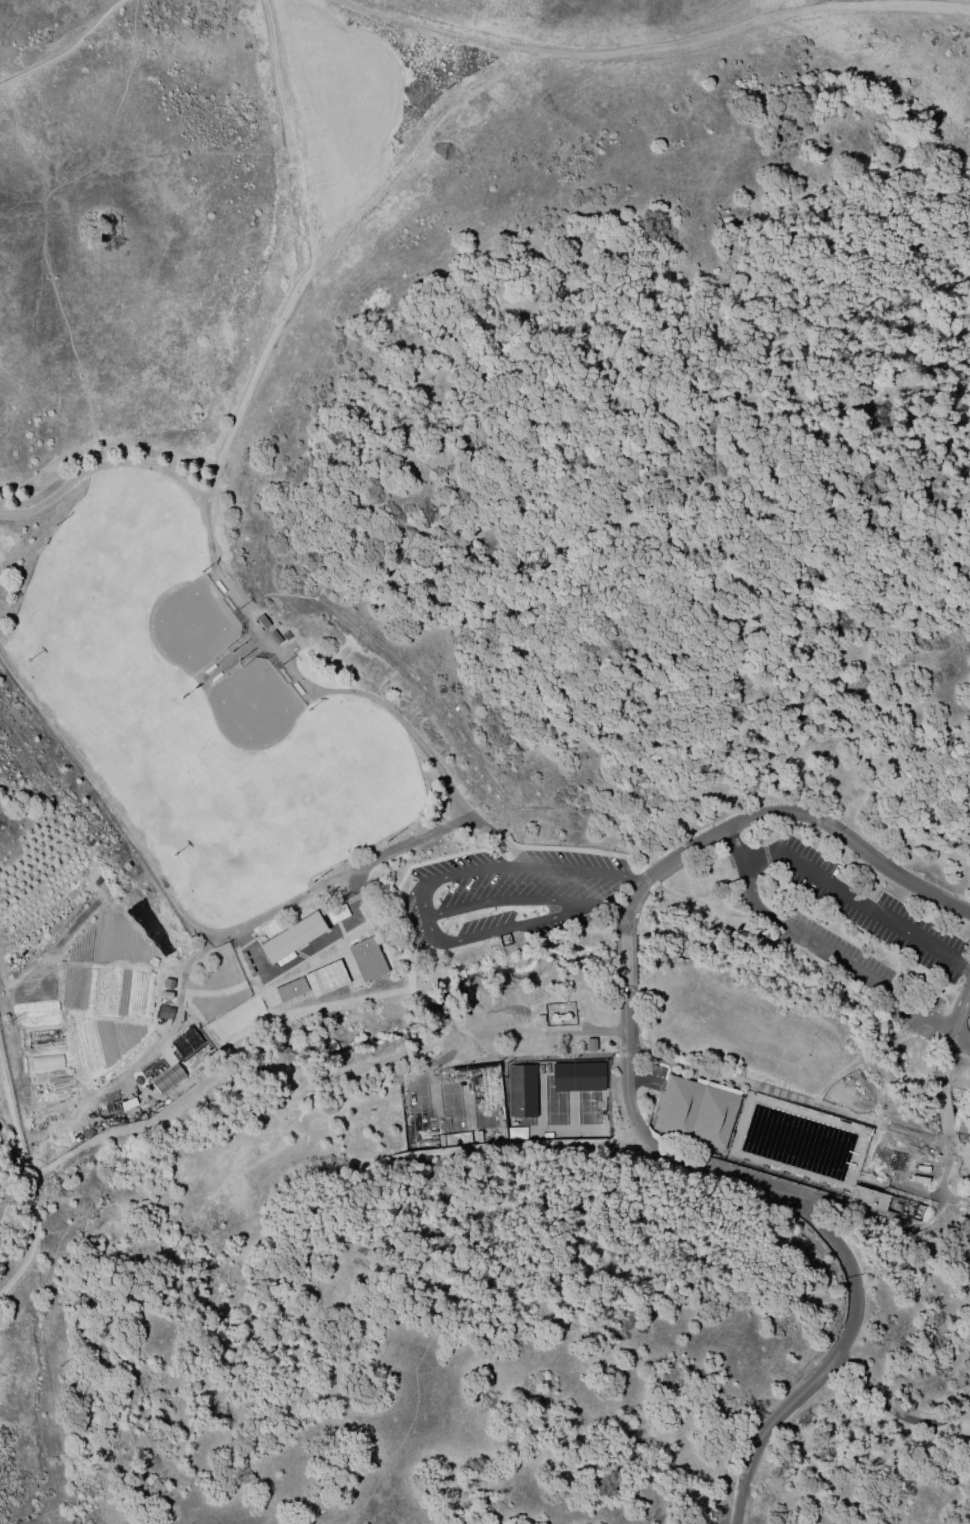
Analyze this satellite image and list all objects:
road: (664, 46)
road: (63, 47)
road: (284, 151)
road: (92, 170)
road: (331, 251)
road: (67, 332)
road: (26, 351)
park: (100, 583)
park: (184, 620)
building: (261, 622)
road: (254, 627)
building: (273, 637)
park: (196, 708)
park: (249, 710)
road: (106, 795)
park: (289, 805)
road: (808, 820)
road: (736, 846)
road: (554, 867)
parking lot: (567, 888)
road: (859, 899)
road: (579, 902)
road: (472, 907)
road: (629, 908)
road: (432, 935)
parking lot: (865, 936)
building: (291, 938)
road: (201, 952)
road: (625, 957)
building: (366, 959)
road: (842, 960)
road: (405, 976)
building: (325, 979)
building: (290, 990)
road: (960, 1007)
building: (43, 1035)
road: (629, 1052)
road: (507, 1055)
road: (943, 1058)
building: (46, 1060)
building: (167, 1079)
park: (588, 1098)
park: (524, 1099)
park: (556, 1099)
road: (805, 1101)
park: (483, 1102)
park: (451, 1106)
park: (419, 1110)
building: (697, 1110)
road: (944, 1110)
road: (958, 1156)
road: (945, 1160)
road: (28, 1198)
building: (886, 1202)
road: (816, 1217)
road: (470, 1298)
road: (895, 1408)

